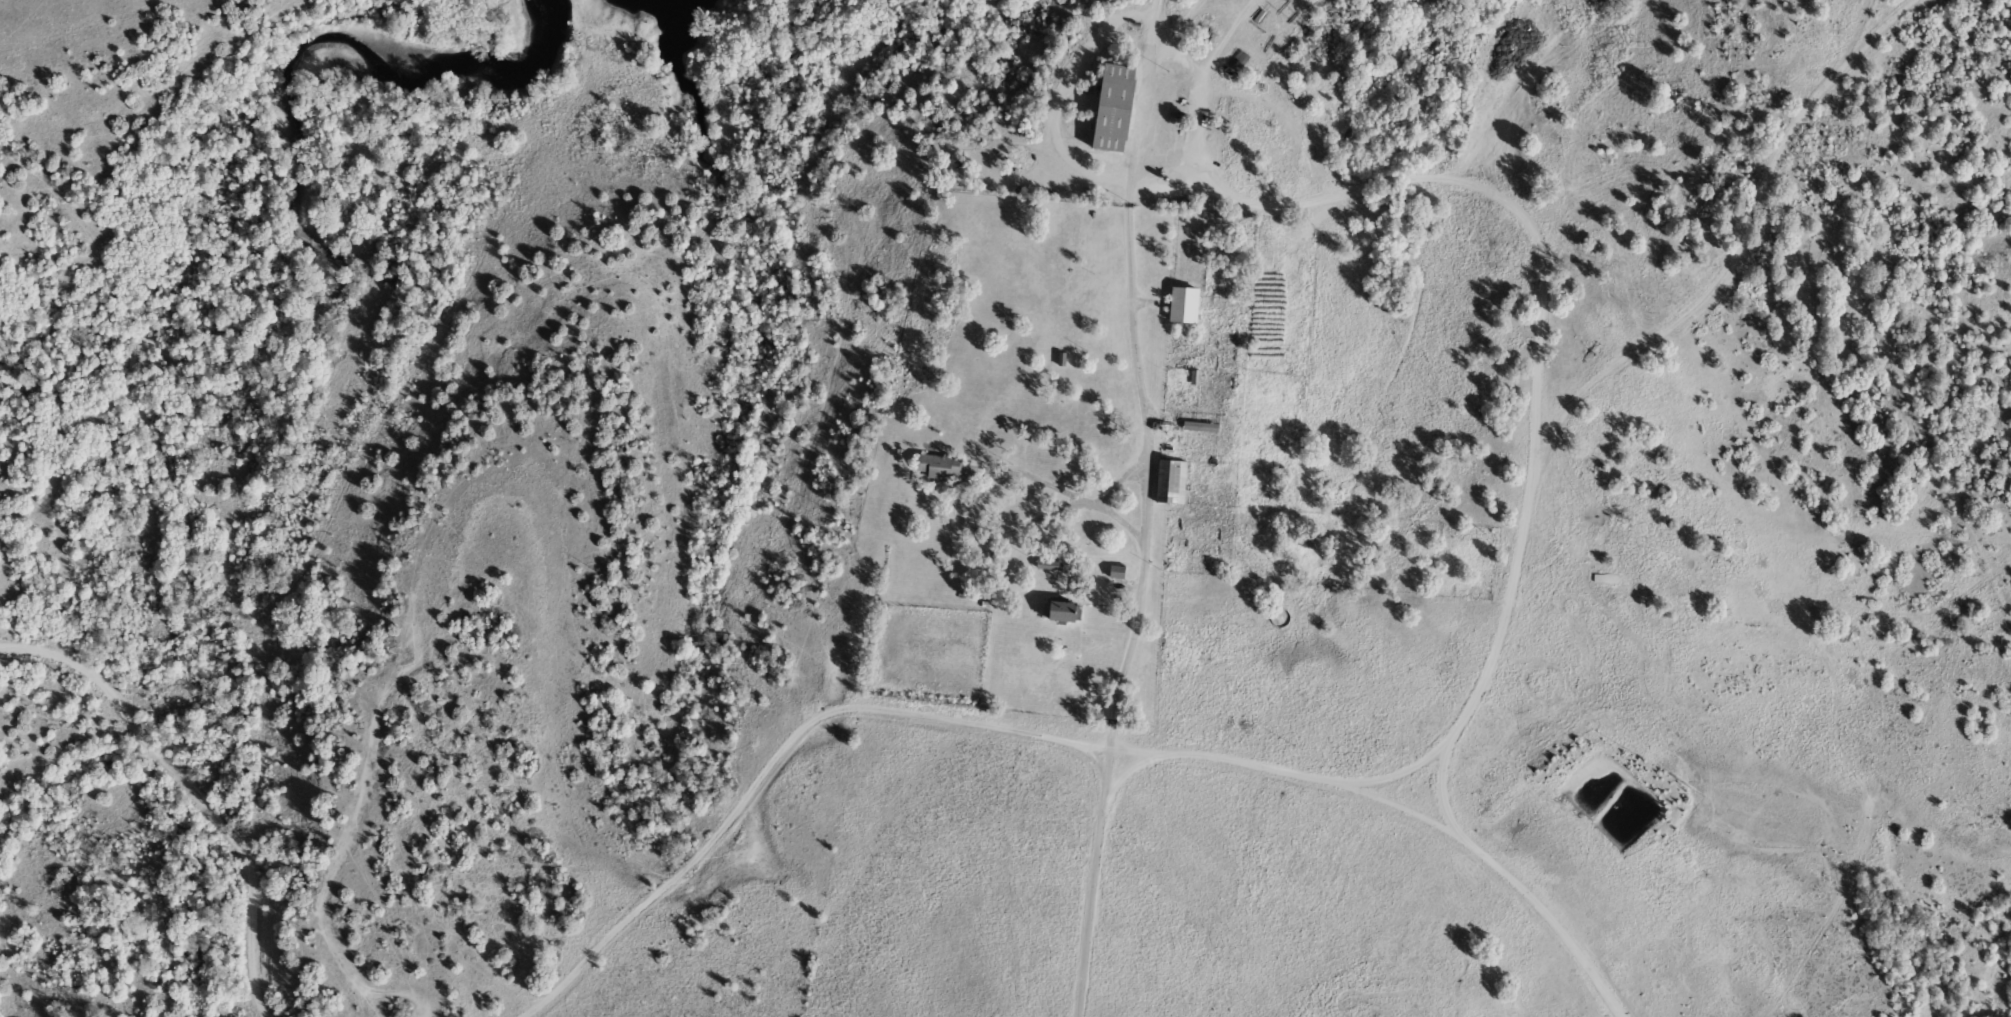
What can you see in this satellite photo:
road: (1229, 9)
road: (1244, 9)
road: (1183, 10)
road: (1206, 62)
building: (1112, 109)
road: (1203, 123)
road: (1319, 195)
building: (1182, 306)
road: (1136, 372)
road: (1606, 381)
building: (936, 467)
building: (1170, 483)
road: (960, 499)
building: (1116, 574)
building: (1060, 613)
building: (1281, 618)
road: (769, 762)
road: (1396, 771)
building: (1610, 784)
road: (190, 794)
road: (1406, 806)
road: (1091, 880)

